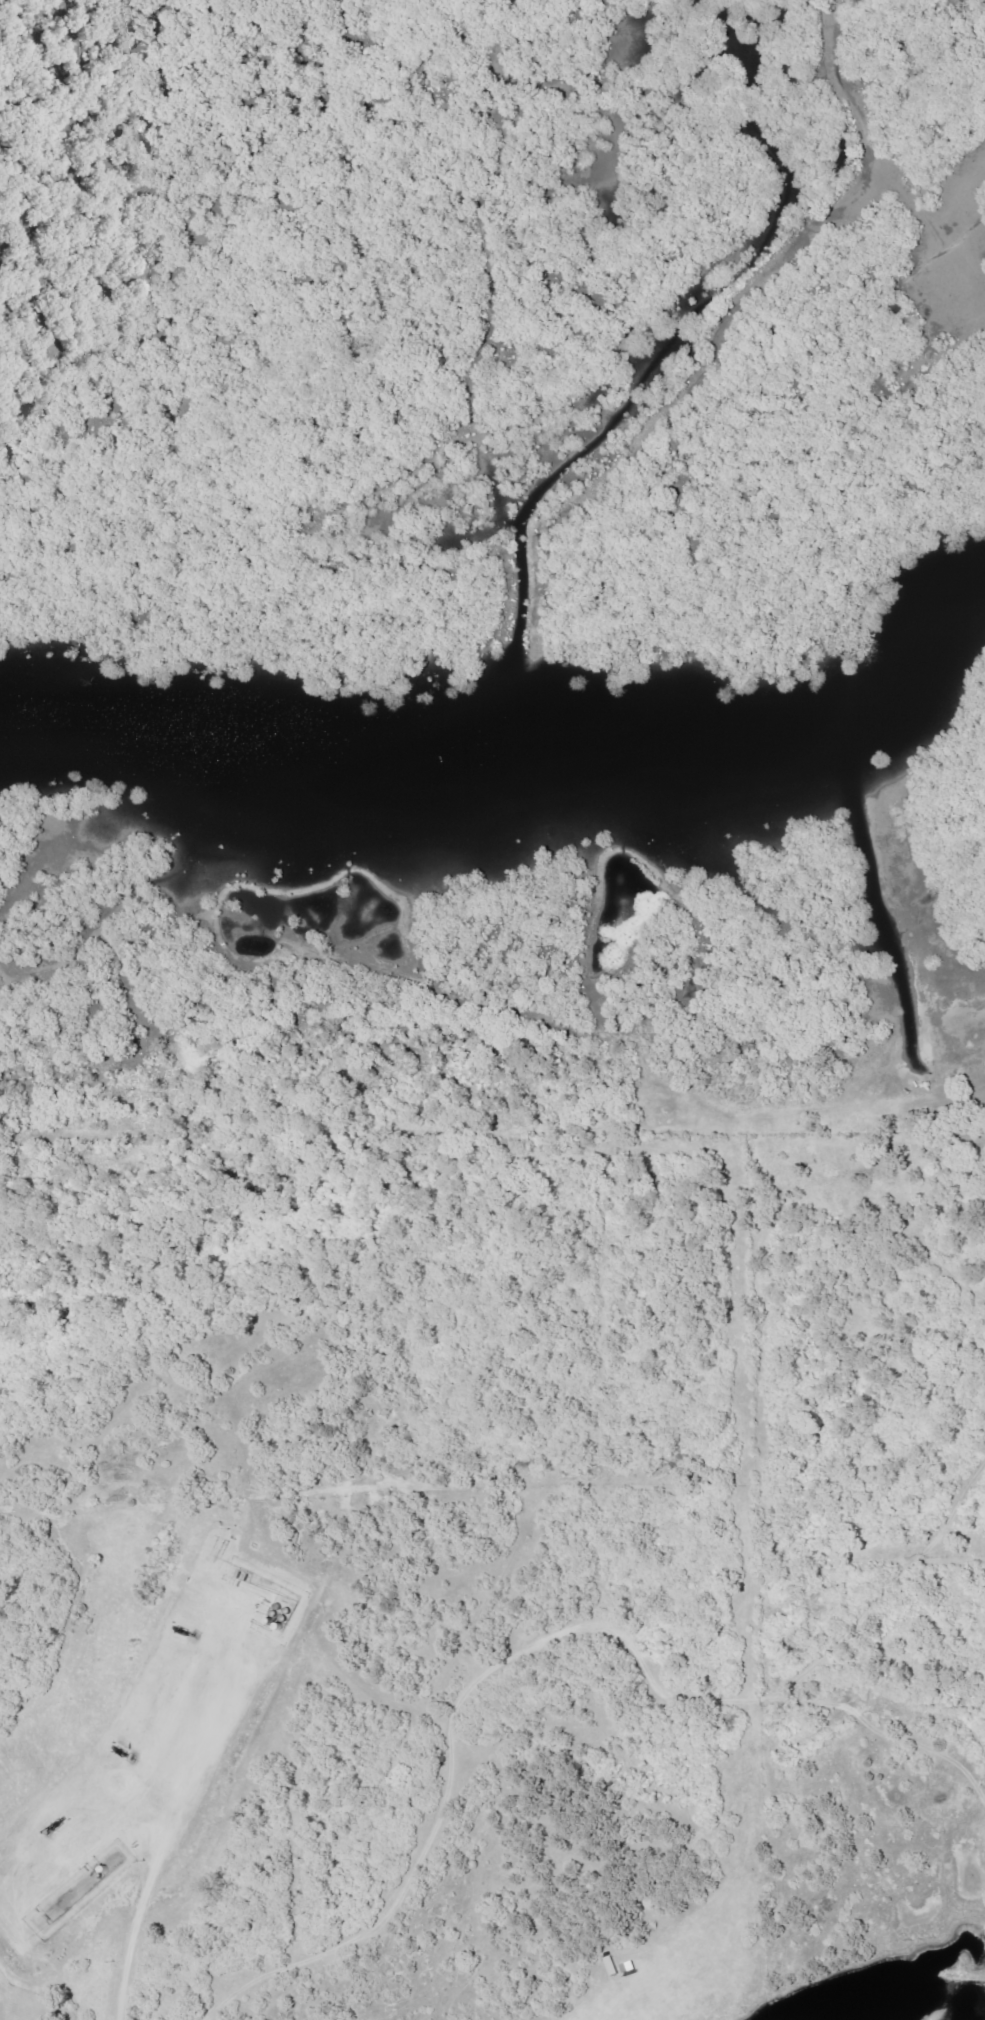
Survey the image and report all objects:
road: (136, 1935)

